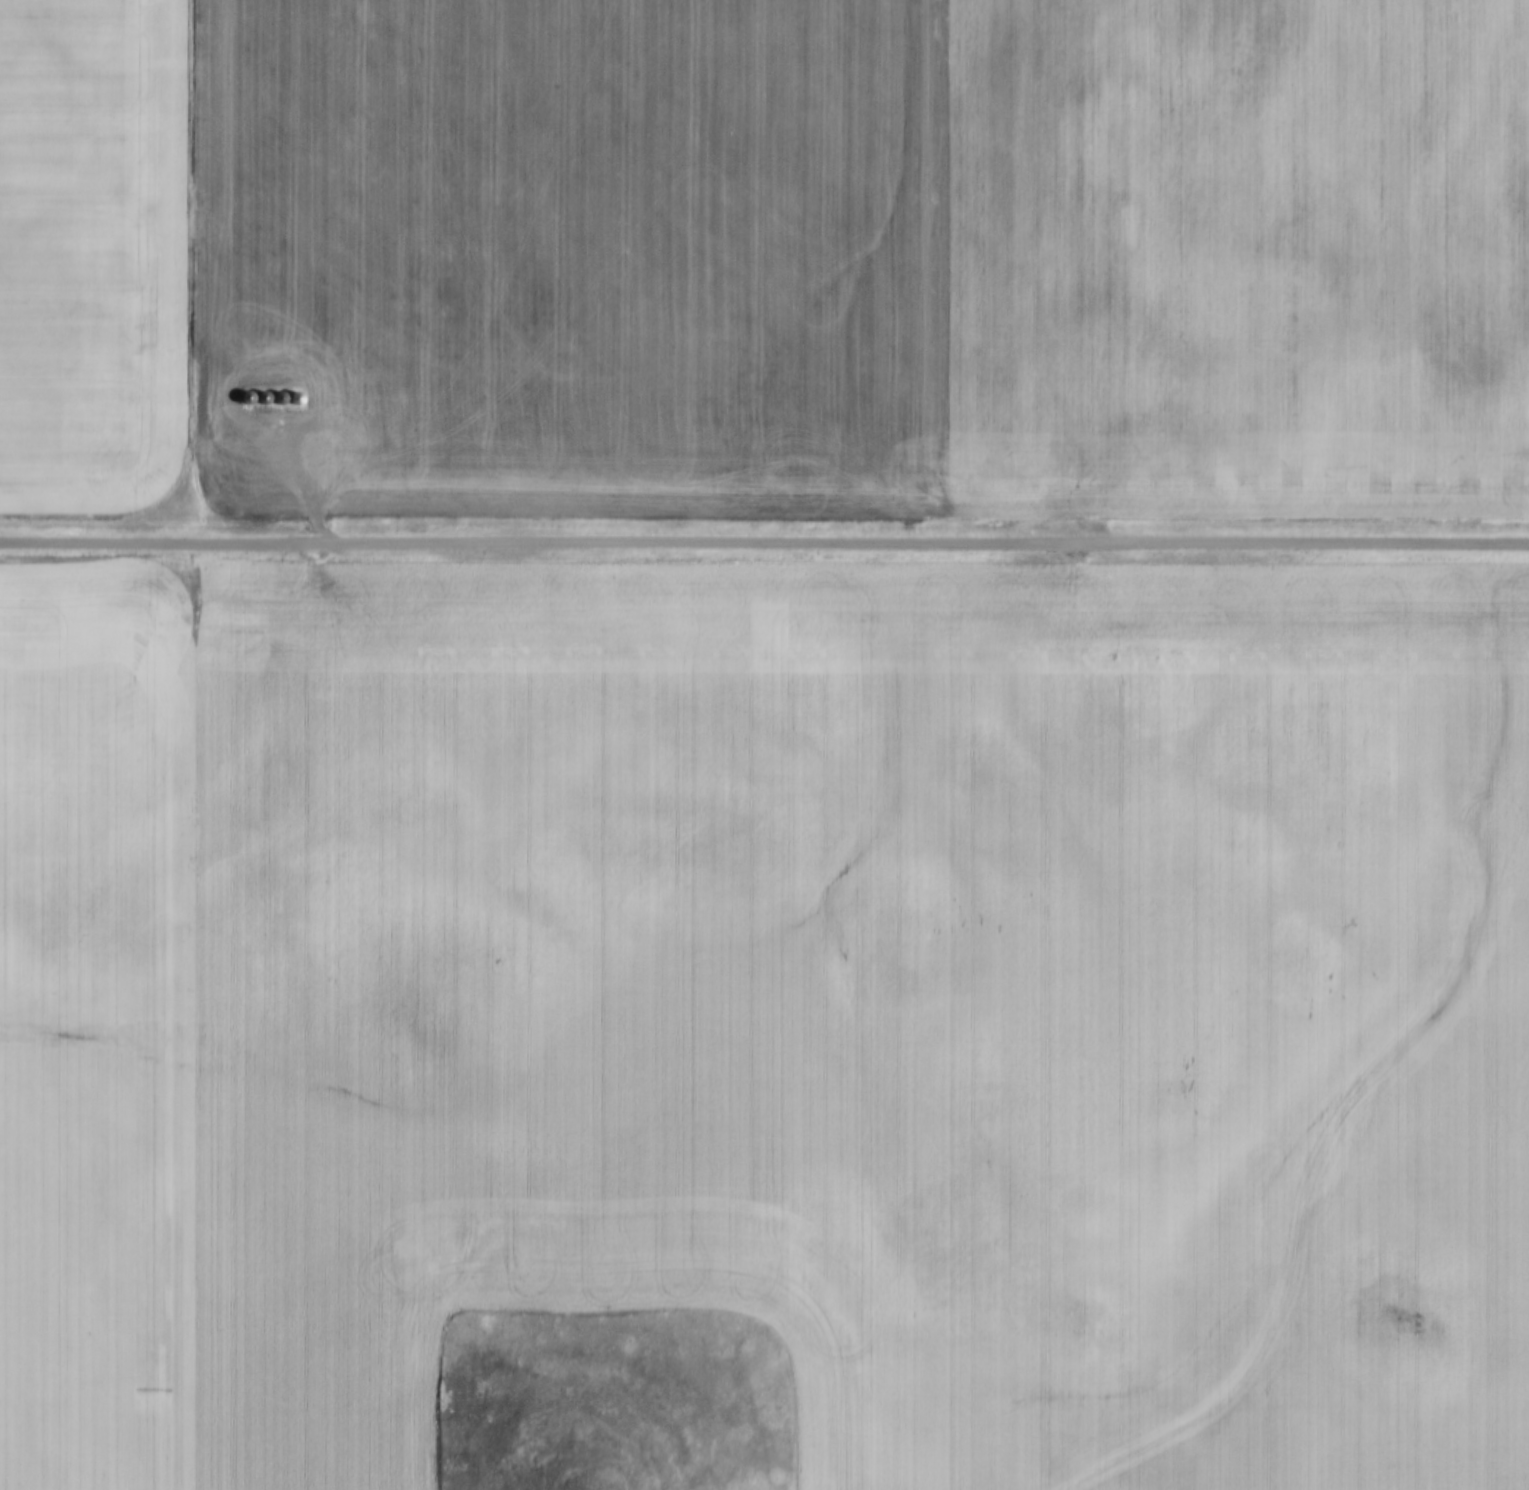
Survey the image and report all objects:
road: (764, 541)

